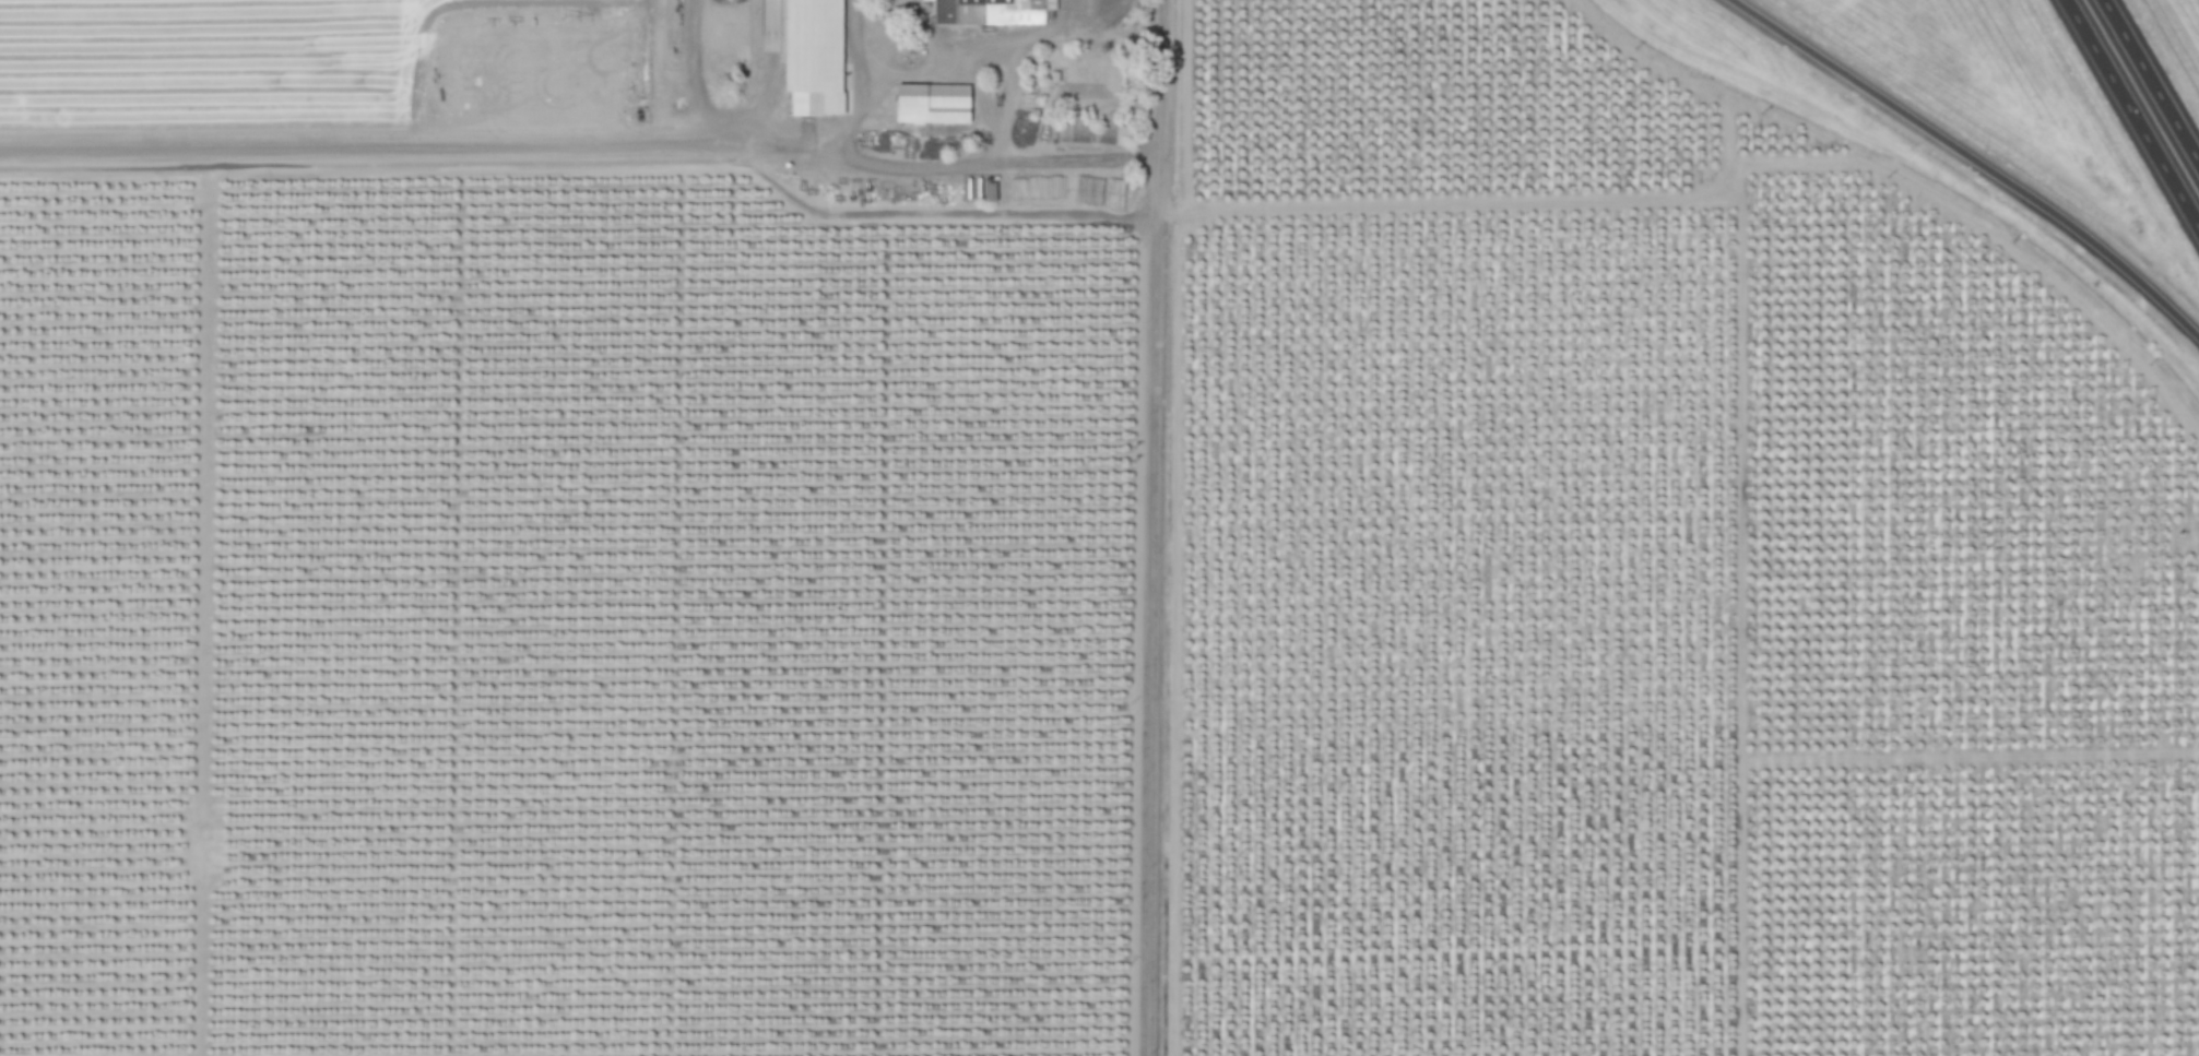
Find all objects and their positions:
building: (991, 12)
road: (862, 39)
crop: (209, 54)
building: (814, 57)
road: (948, 64)
road: (694, 71)
road: (2150, 82)
road: (1005, 100)
building: (932, 104)
road: (2131, 115)
road: (421, 143)
road: (1971, 159)
road: (995, 161)
road: (1152, 527)

